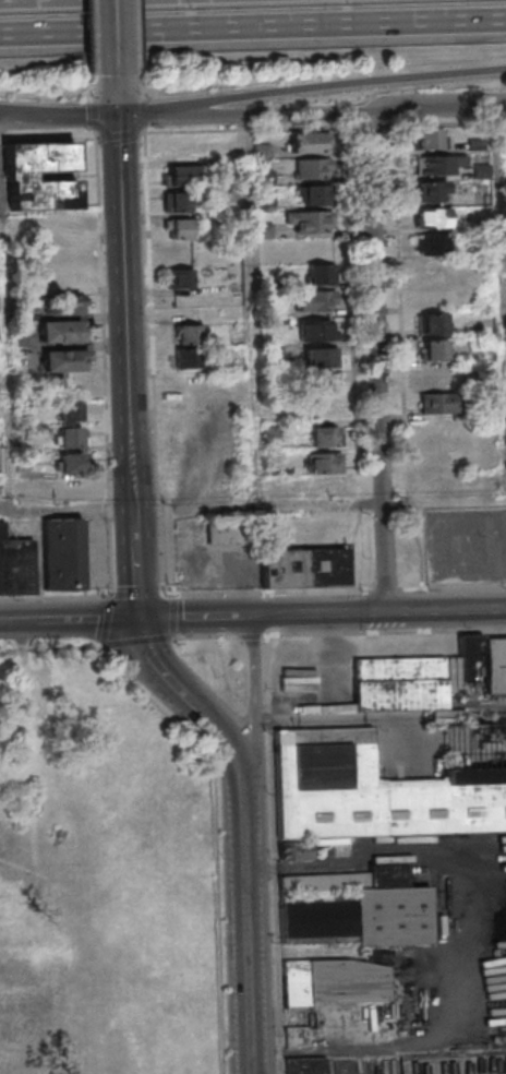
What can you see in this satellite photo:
road: (252, 28)
road: (117, 43)
road: (333, 89)
road: (118, 100)
road: (437, 108)
road: (40, 114)
road: (266, 115)
road: (99, 116)
traffic signals: (118, 116)
road: (140, 116)
road: (40, 118)
building: (427, 139)
building: (308, 142)
building: (262, 151)
building: (441, 165)
building: (312, 168)
building: (17, 175)
building: (182, 175)
building: (432, 190)
road: (502, 193)
building: (312, 194)
building: (176, 201)
building: (432, 217)
building: (309, 222)
building: (60, 226)
building: (178, 228)
building: (432, 244)
building: (179, 254)
building: (431, 271)
building: (320, 274)
building: (59, 278)
building: (179, 278)
building: (318, 300)
building: (61, 306)
road: (256, 310)
building: (433, 323)
building: (316, 330)
building: (62, 331)
building: (184, 333)
building: (433, 349)
building: (317, 356)
road: (5, 357)
building: (184, 359)
building: (64, 360)
road: (379, 363)
road: (133, 367)
building: (321, 383)
building: (439, 392)
building: (322, 407)
building: (70, 410)
building: (442, 429)
building: (323, 435)
building: (72, 437)
building: (70, 463)
building: (323, 474)
building: (71, 489)
road: (323, 503)
road: (70, 512)
road: (98, 545)
building: (65, 554)
building: (300, 569)
road: (377, 612)
road: (198, 618)
traffic signals: (147, 619)
road: (73, 620)
road: (388, 632)
building: (495, 665)
road: (254, 676)
road: (186, 683)
building: (399, 683)
road: (344, 719)
building: (370, 792)
building: (294, 851)
road: (276, 855)
road: (249, 904)
building: (352, 904)
road: (491, 927)
building: (334, 980)
building: (340, 1024)
building: (305, 1066)

